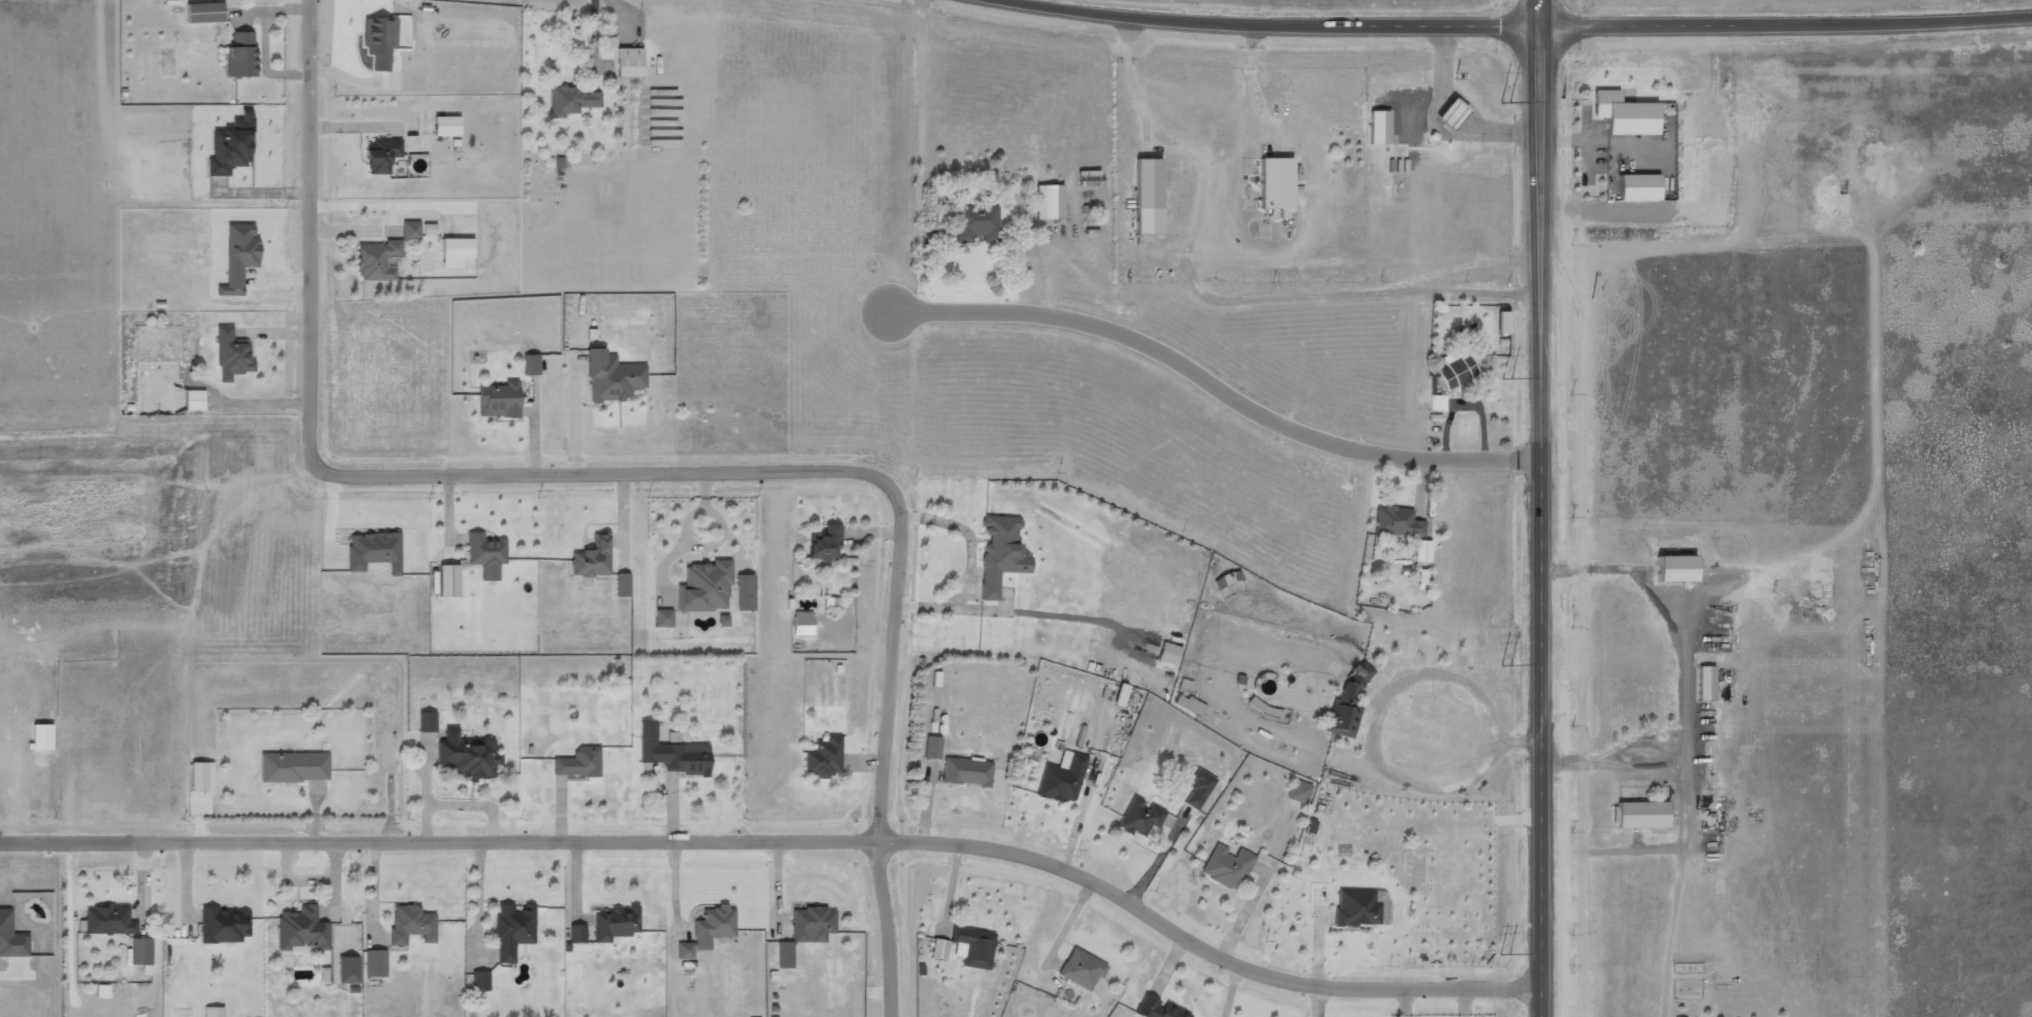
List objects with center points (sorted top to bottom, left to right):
building: (205, 13)
road: (1540, 13)
road: (1786, 25)
road: (1262, 26)
building: (380, 42)
building: (241, 56)
building: (629, 63)
building: (573, 101)
power tower: (1504, 108)
building: (1629, 114)
building: (1451, 115)
building: (446, 127)
building: (382, 156)
building: (1276, 185)
building: (1643, 187)
building: (1148, 197)
building: (1049, 203)
building: (977, 224)
building: (411, 231)
building: (428, 231)
building: (239, 258)
building: (378, 261)
building: (1506, 322)
building: (232, 355)
building: (531, 365)
building: (1459, 368)
building: (612, 378)
power tower: (1505, 389)
road: (1222, 393)
building: (194, 401)
building: (499, 401)
road: (641, 471)
building: (1400, 522)
road: (1541, 522)
building: (826, 548)
building: (1425, 551)
building: (374, 552)
building: (486, 555)
building: (1002, 555)
building: (593, 558)
building: (1680, 569)
building: (449, 581)
building: (623, 585)
building: (706, 587)
building: (745, 593)
building: (664, 619)
building: (724, 621)
building: (803, 624)
power tower: (1505, 672)
building: (1709, 683)
building: (1123, 695)
building: (1350, 703)
building: (1191, 704)
building: (427, 722)
building: (933, 749)
building: (674, 754)
building: (467, 757)
building: (825, 758)
building: (579, 763)
building: (294, 768)
building: (967, 772)
building: (202, 777)
building: (1064, 778)
building: (1200, 790)
building: (1300, 791)
building: (1643, 814)
building: (1142, 816)
road: (786, 839)
building: (1228, 866)
building: (1384, 900)
building: (1358, 908)
building: (109, 921)
building: (814, 921)
building: (716, 922)
building: (515, 923)
building: (618, 923)
building: (412, 924)
building: (224, 926)
building: (302, 930)
building: (577, 932)
building: (935, 949)
building: (141, 952)
power tower: (1504, 954)
building: (372, 963)
building: (1084, 969)
building: (1160, 1008)

